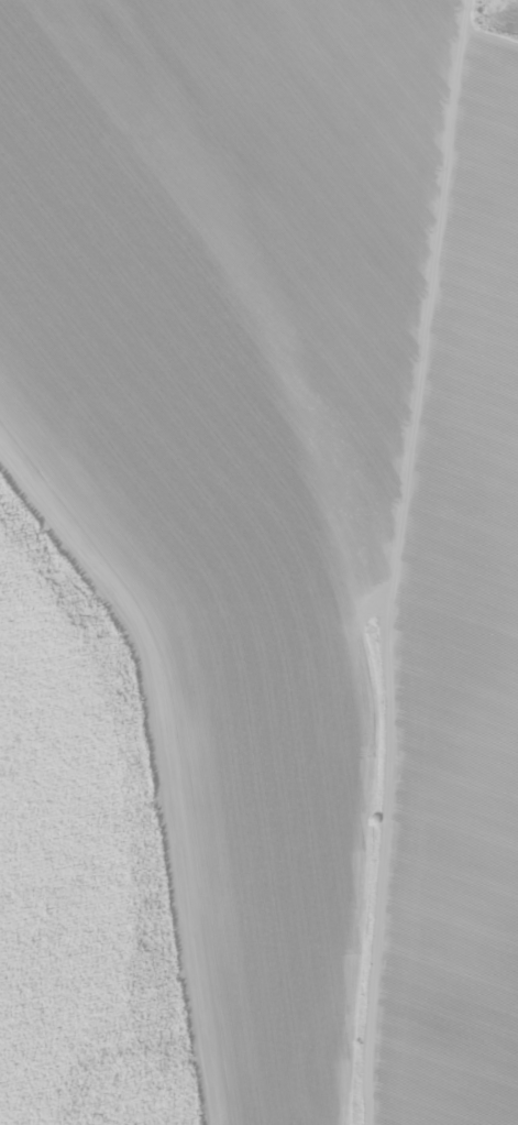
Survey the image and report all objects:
road: (396, 560)
road: (169, 756)

